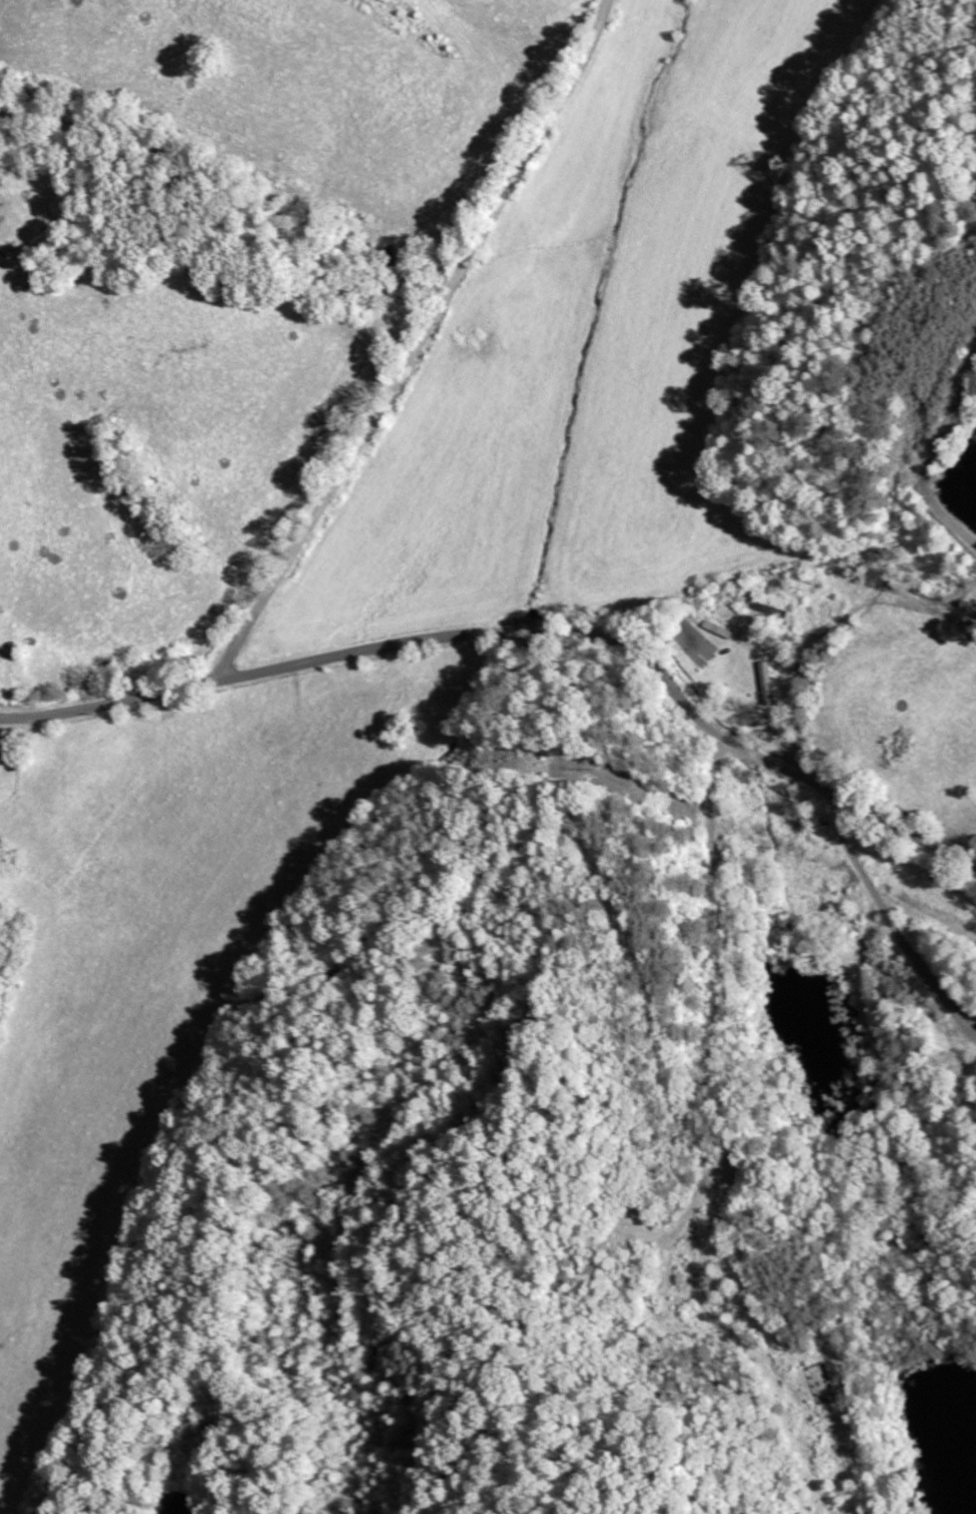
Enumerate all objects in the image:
road: (418, 344)
building: (772, 610)
road: (519, 630)

